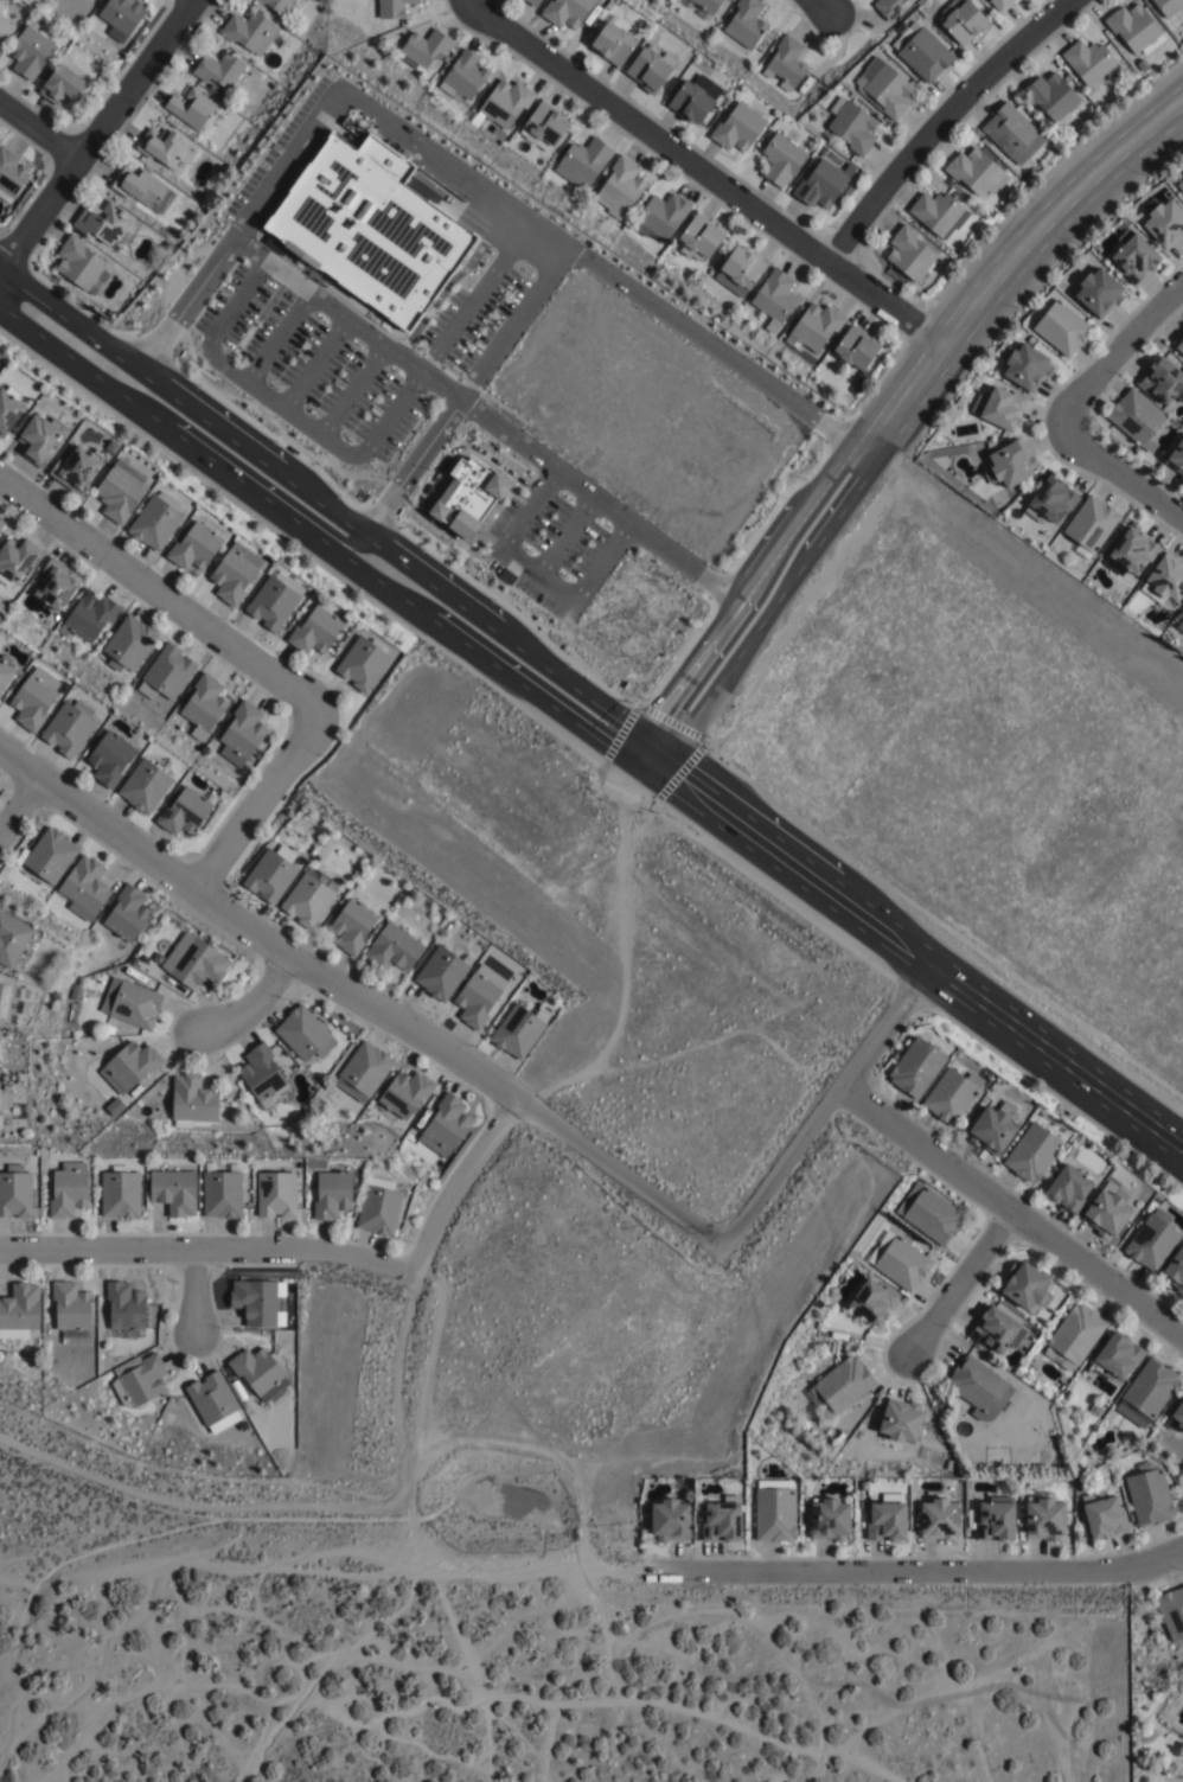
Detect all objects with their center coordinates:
building: (531, 2)
building: (276, 5)
building: (1002, 5)
building: (702, 6)
road: (820, 6)
building: (1168, 6)
building: (394, 8)
building: (889, 8)
building: (1, 9)
building: (565, 12)
building: (121, 18)
building: (964, 25)
building: (743, 26)
building: (1132, 28)
building: (5, 31)
building: (248, 33)
building: (614, 41)
building: (423, 51)
building: (31, 53)
building: (922, 53)
building: (786, 64)
building: (1089, 64)
building: (218, 71)
building: (650, 71)
building: (462, 78)
building: (63, 89)
building: (883, 90)
building: (215, 91)
building: (1053, 101)
building: (690, 104)
building: (505, 107)
building: (190, 108)
road: (939, 120)
building: (851, 127)
building: (544, 128)
building: (737, 129)
road: (40, 132)
road: (100, 134)
building: (1011, 134)
building: (161, 149)
parking lot: (289, 154)
building: (586, 161)
building: (780, 161)
road: (287, 165)
road: (706, 174)
building: (976, 174)
building: (11, 175)
building: (1181, 183)
building: (820, 186)
building: (621, 187)
building: (143, 192)
building: (935, 215)
building: (659, 216)
building: (1163, 218)
building: (100, 225)
building: (367, 229)
building: (699, 234)
building: (673, 247)
building: (1134, 253)
building: (909, 256)
building: (742, 263)
building: (78, 267)
road: (597, 269)
road: (450, 280)
building: (1098, 289)
building: (774, 294)
road: (184, 309)
parking lot: (482, 320)
road: (512, 324)
building: (814, 326)
building: (1061, 326)
road: (279, 338)
building: (1178, 343)
building: (856, 346)
road: (1117, 355)
road: (314, 364)
building: (1025, 364)
parking lot: (305, 371)
building: (861, 378)
building: (1162, 378)
road: (352, 390)
building: (851, 390)
road: (894, 402)
building: (999, 404)
building: (8, 408)
building: (1136, 417)
road: (490, 422)
building: (38, 437)
road: (354, 454)
building: (1176, 456)
building: (1006, 464)
building: (76, 468)
road: (410, 471)
road: (1121, 471)
road: (431, 479)
building: (121, 490)
building: (467, 497)
building: (1049, 499)
road: (529, 507)
road: (326, 517)
building: (155, 522)
building: (1091, 522)
building: (1, 523)
road: (565, 534)
building: (193, 547)
building: (1133, 549)
parking lot: (550, 551)
building: (18, 556)
road: (603, 561)
road: (539, 571)
building: (234, 573)
building: (1164, 579)
building: (57, 583)
road: (159, 595)
building: (274, 600)
building: (89, 617)
building: (1181, 624)
building: (315, 630)
building: (129, 644)
building: (363, 662)
building: (5, 673)
building: (167, 673)
building: (34, 698)
building: (204, 705)
building: (68, 729)
building: (244, 729)
traffic signals: (652, 749)
building: (110, 758)
building: (145, 786)
road: (18, 805)
road: (251, 805)
building: (186, 811)
building: (50, 855)
building: (269, 876)
building: (85, 886)
building: (309, 898)
building: (127, 914)
building: (352, 926)
building: (12, 939)
building: (392, 949)
road: (914, 952)
building: (194, 962)
building: (441, 973)
building: (4, 999)
building: (477, 999)
road: (360, 1001)
building: (130, 1003)
road: (251, 1008)
building: (109, 1030)
building: (517, 1031)
building: (303, 1034)
building: (130, 1067)
building: (915, 1068)
building: (364, 1072)
building: (261, 1073)
building: (405, 1094)
building: (951, 1096)
building: (192, 1101)
road: (826, 1105)
building: (115, 1107)
building: (0, 1125)
building: (446, 1126)
building: (990, 1130)
building: (1031, 1154)
road: (459, 1184)
building: (1068, 1190)
building: (69, 1192)
building: (174, 1192)
building: (120, 1194)
building: (223, 1194)
building: (15, 1195)
building: (275, 1195)
building: (332, 1195)
building: (378, 1208)
road: (1010, 1213)
building: (929, 1215)
building: (1106, 1215)
building: (1151, 1241)
road: (209, 1251)
building: (900, 1263)
building: (1176, 1271)
road: (958, 1285)
building: (1024, 1290)
road: (198, 1294)
building: (255, 1303)
building: (872, 1304)
building: (124, 1308)
building: (71, 1311)
building: (19, 1312)
building: (995, 1333)
building: (1074, 1339)
building: (1115, 1359)
building: (257, 1374)
building: (143, 1381)
building: (843, 1386)
building: (978, 1388)
building: (1147, 1393)
building: (211, 1399)
building: (1178, 1418)
building: (222, 1422)
building: (901, 1423)
building: (1149, 1500)
building: (774, 1516)
building: (1101, 1519)
building: (669, 1522)
building: (830, 1522)
building: (940, 1522)
building: (1045, 1522)
building: (996, 1525)
building: (721, 1526)
building: (887, 1526)
road: (923, 1572)
building: (1171, 1609)

